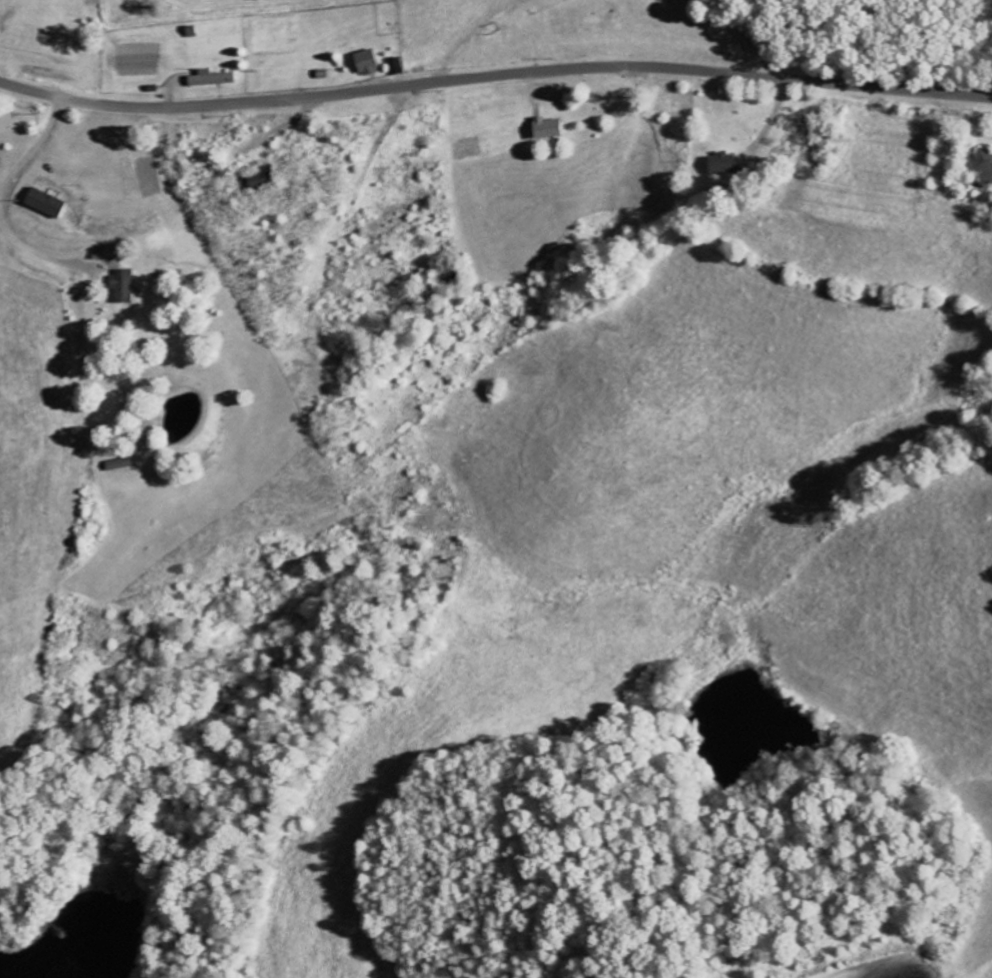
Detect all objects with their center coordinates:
building: (368, 62)
building: (397, 66)
road: (494, 75)
building: (212, 79)
building: (547, 128)
building: (722, 164)
building: (984, 164)
building: (259, 180)
building: (46, 203)
building: (124, 286)
building: (121, 465)

